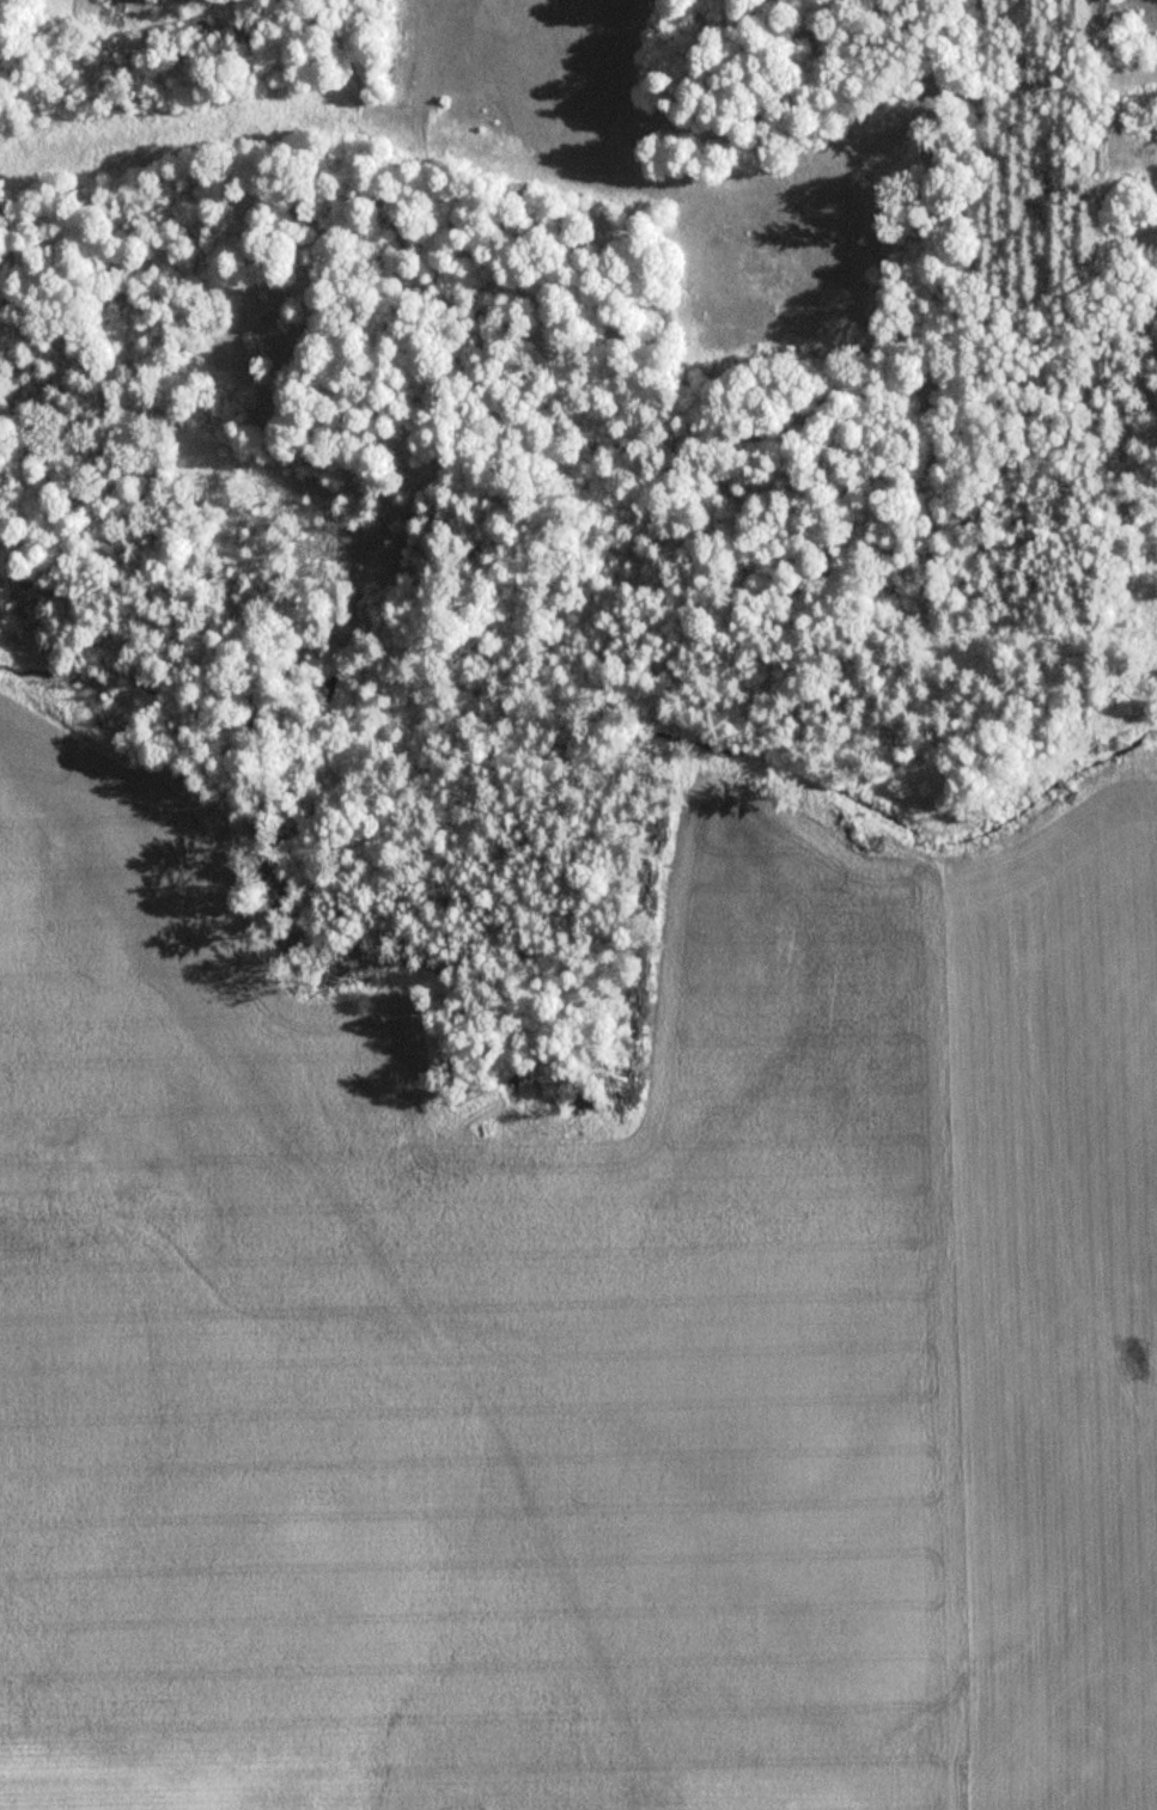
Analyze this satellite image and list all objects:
building: (607, 4)
crop: (158, 1005)
crop: (517, 1445)

